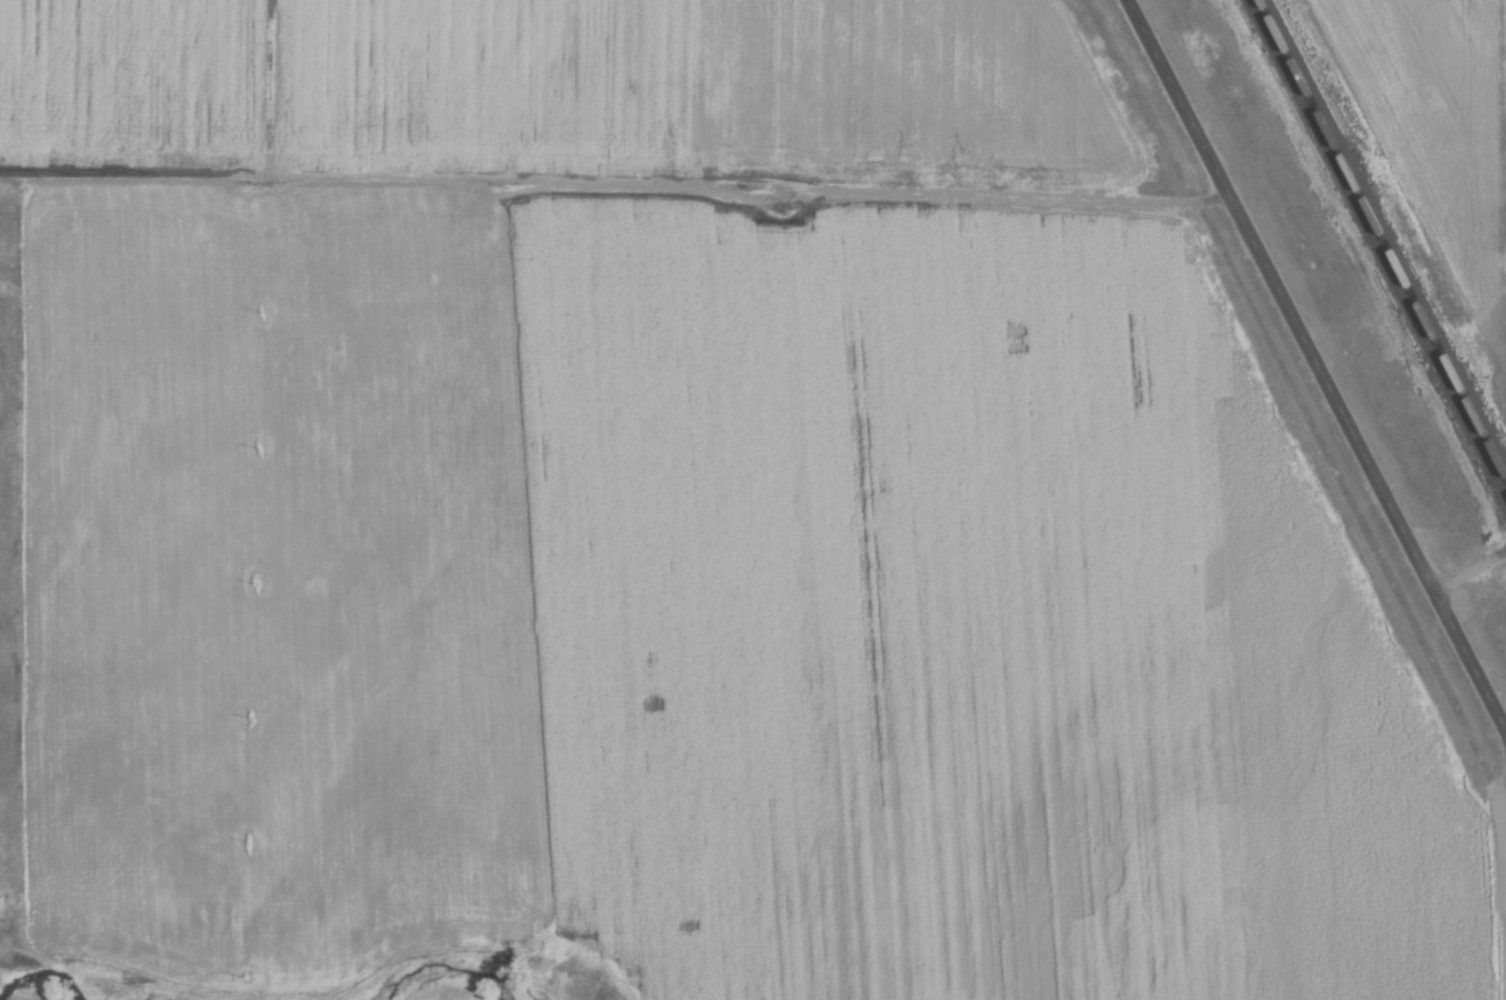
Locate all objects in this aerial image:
crop: (572, 90)
crop: (1437, 119)
railway: (1384, 237)
railway: (1378, 246)
road: (1318, 364)
road: (1470, 570)
crop: (704, 606)

